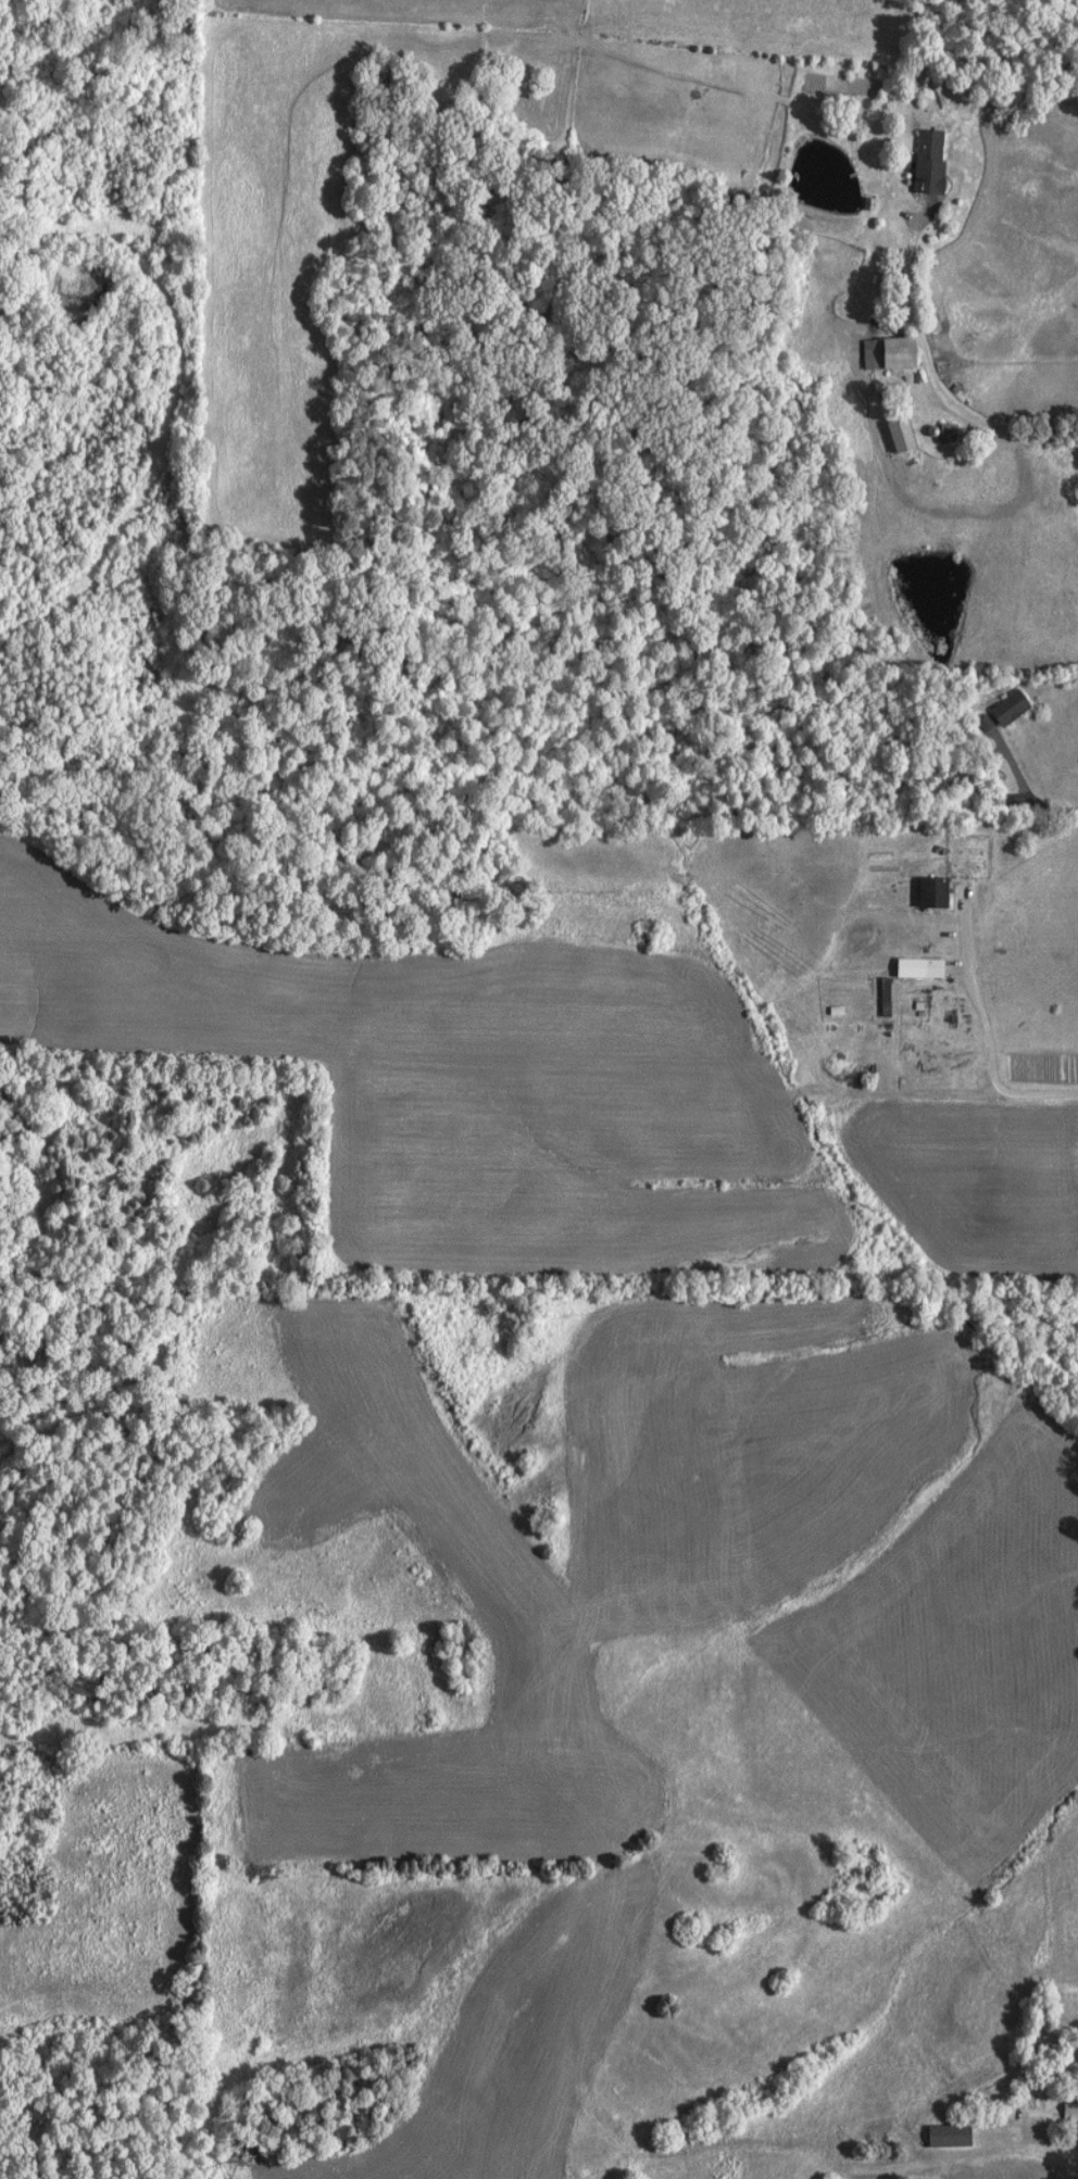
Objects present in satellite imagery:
building: (922, 163)
road: (907, 263)
building: (880, 352)
road: (966, 415)
building: (995, 712)
road: (1027, 793)
building: (924, 892)
building: (924, 967)
building: (878, 995)
building: (1066, 2108)
building: (940, 2138)
road: (1037, 2139)

